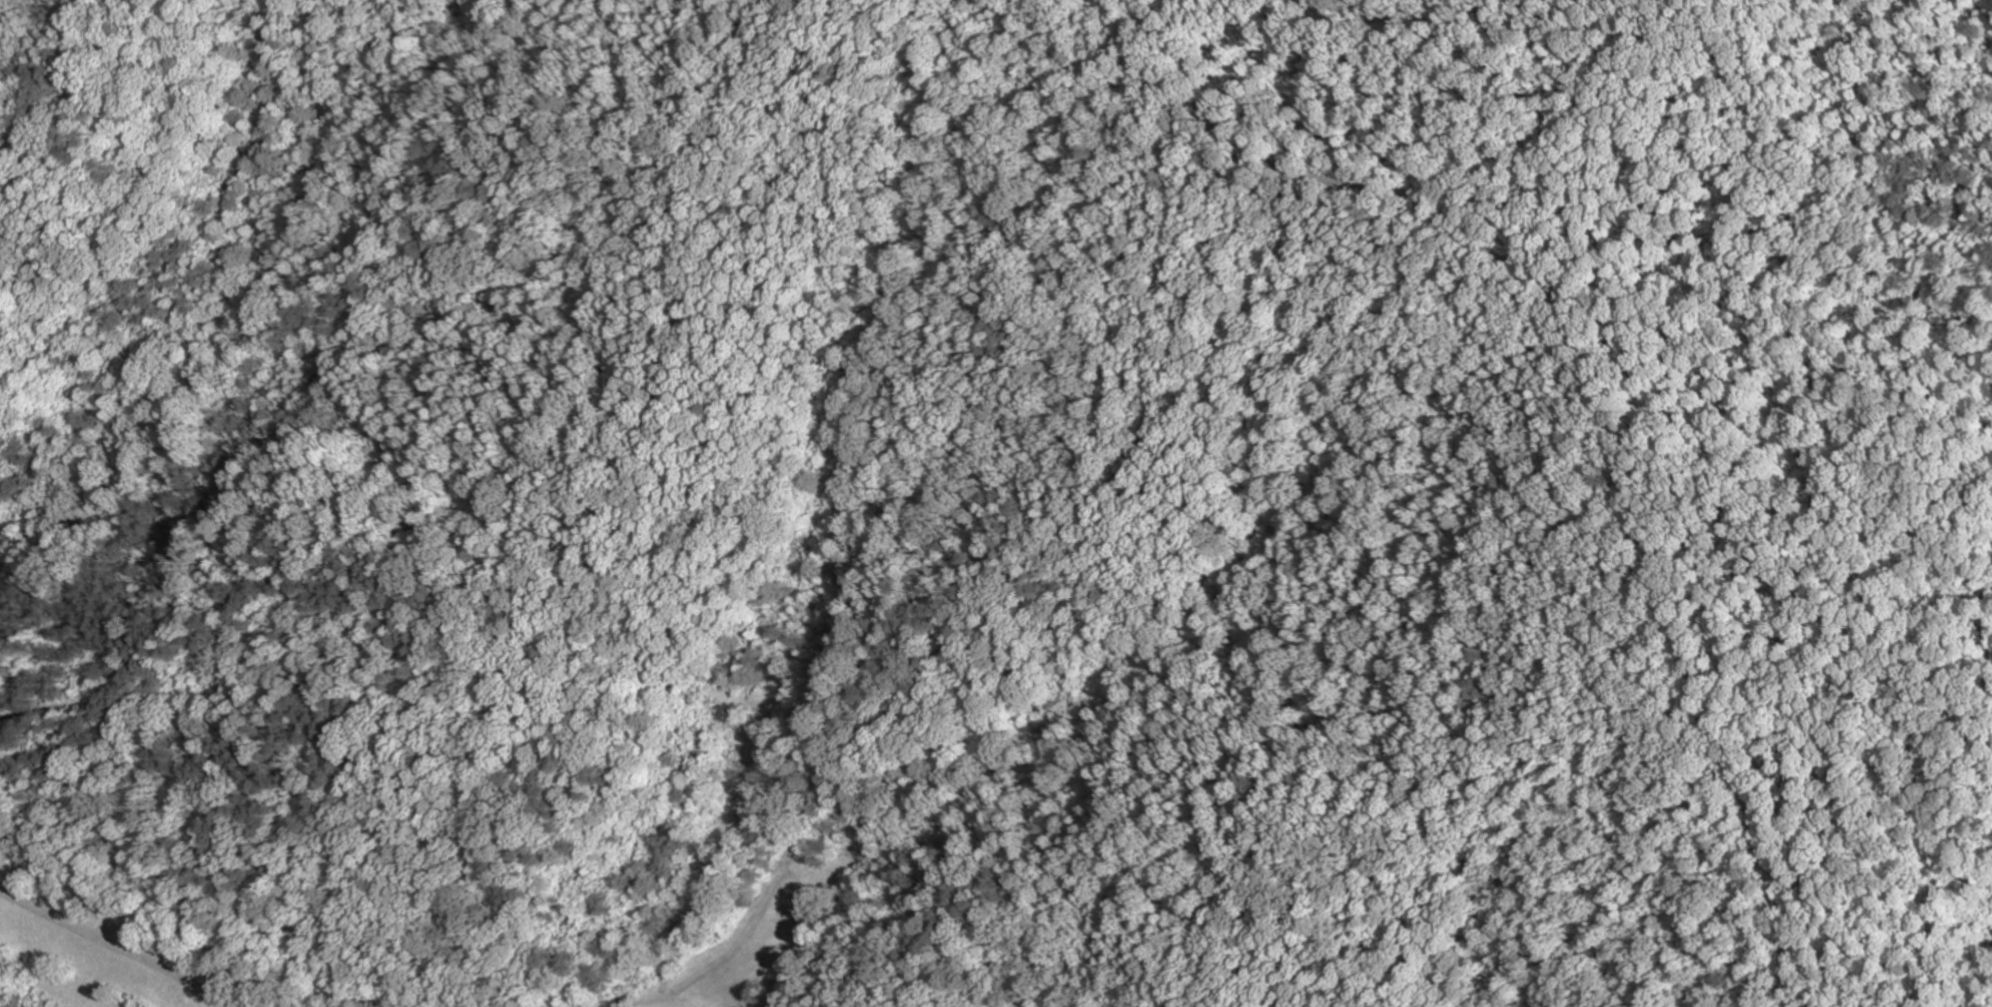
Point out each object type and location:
road: (1989, 996)

